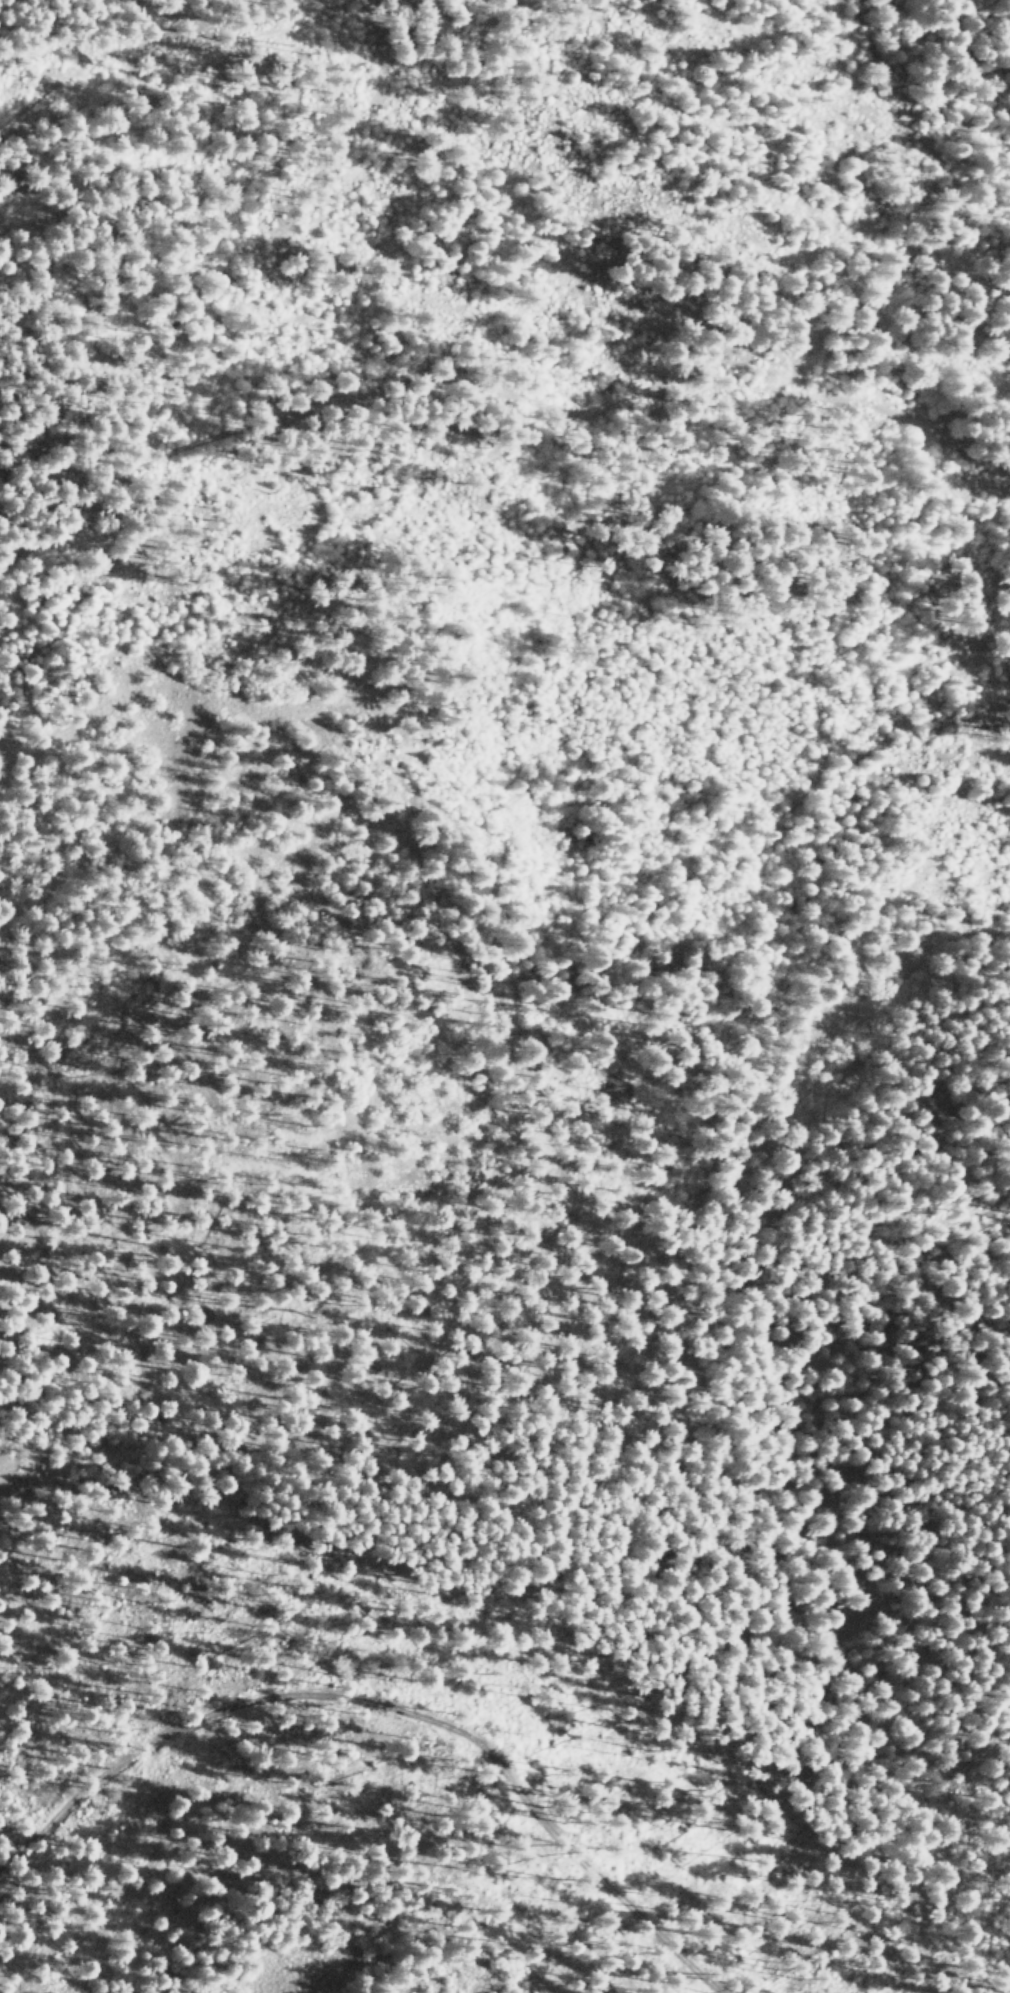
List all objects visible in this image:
road: (402, 1707)

